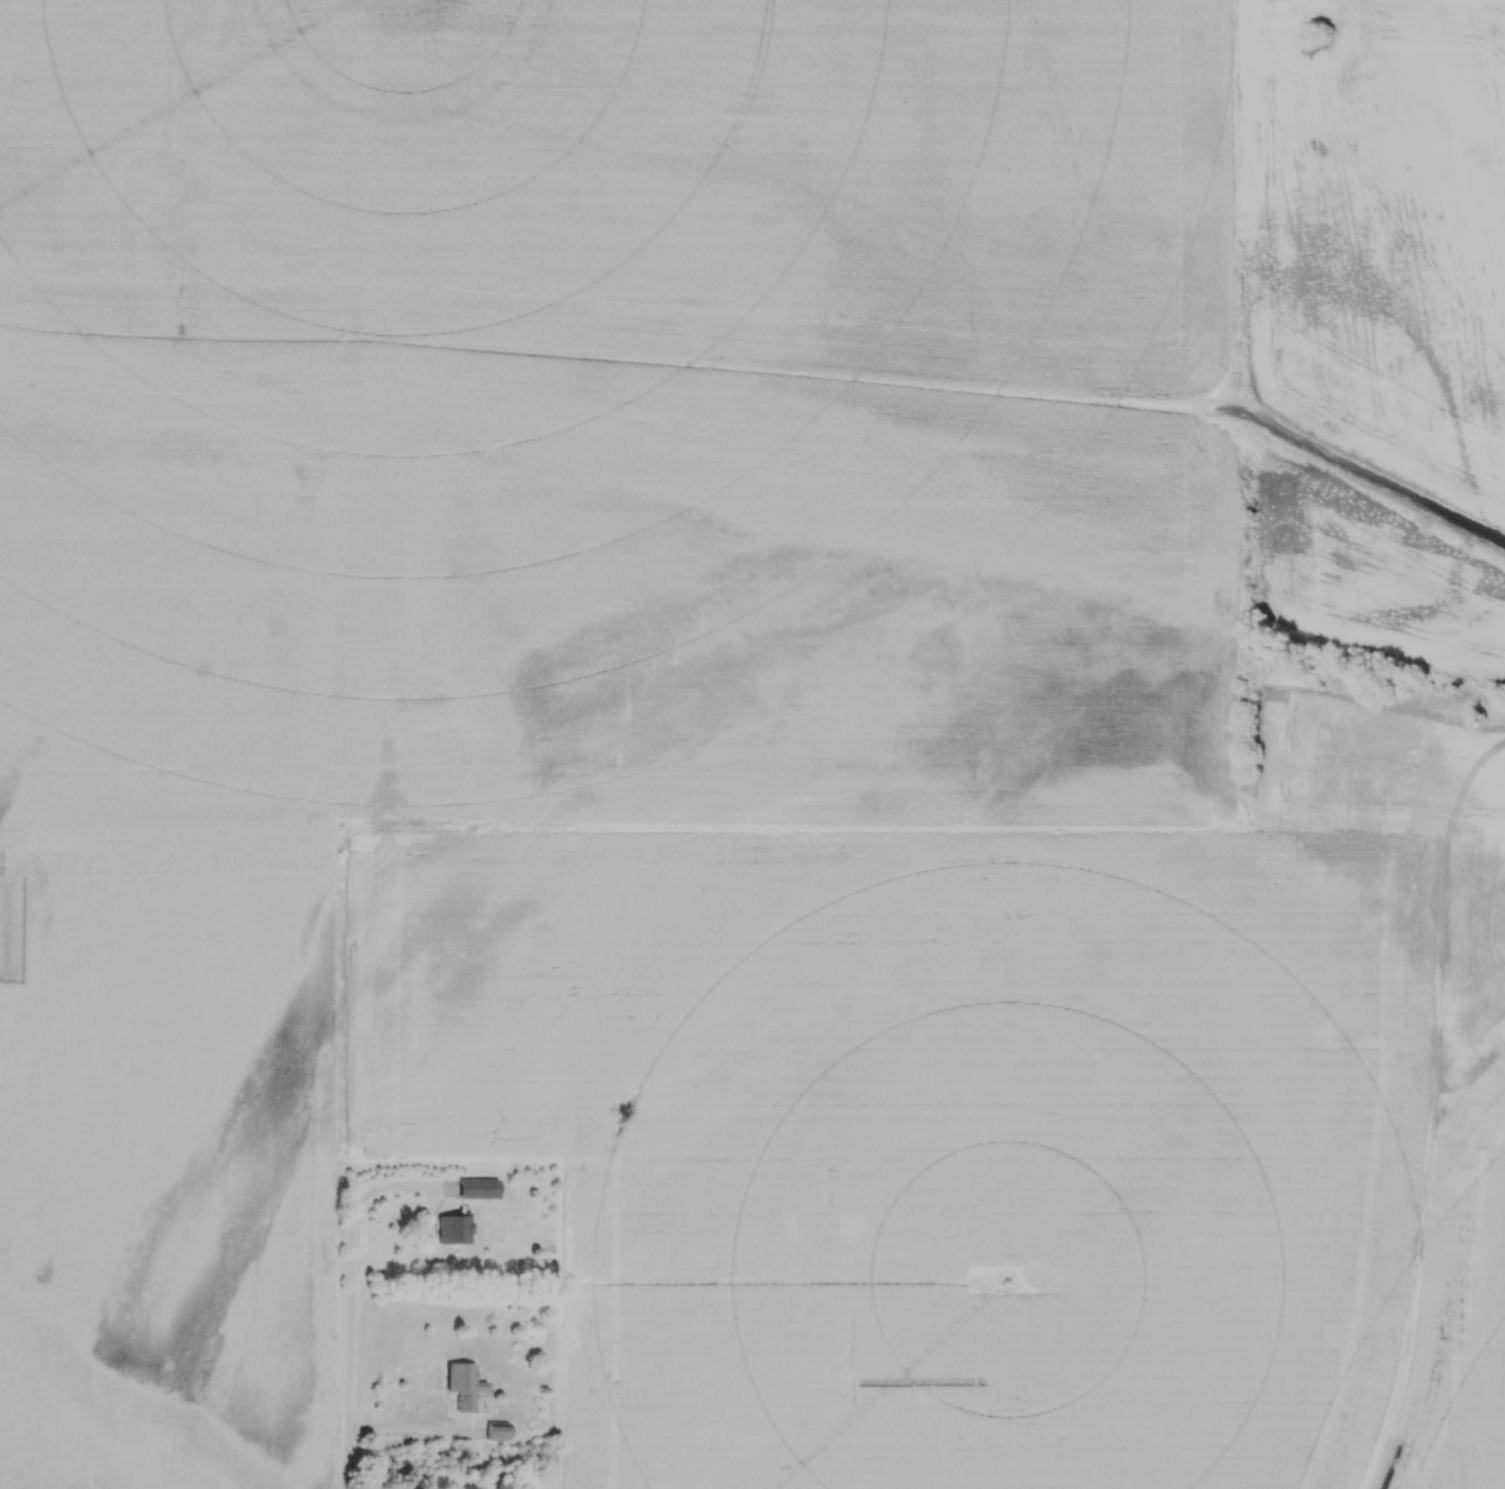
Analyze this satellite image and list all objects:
road: (351, 1313)

